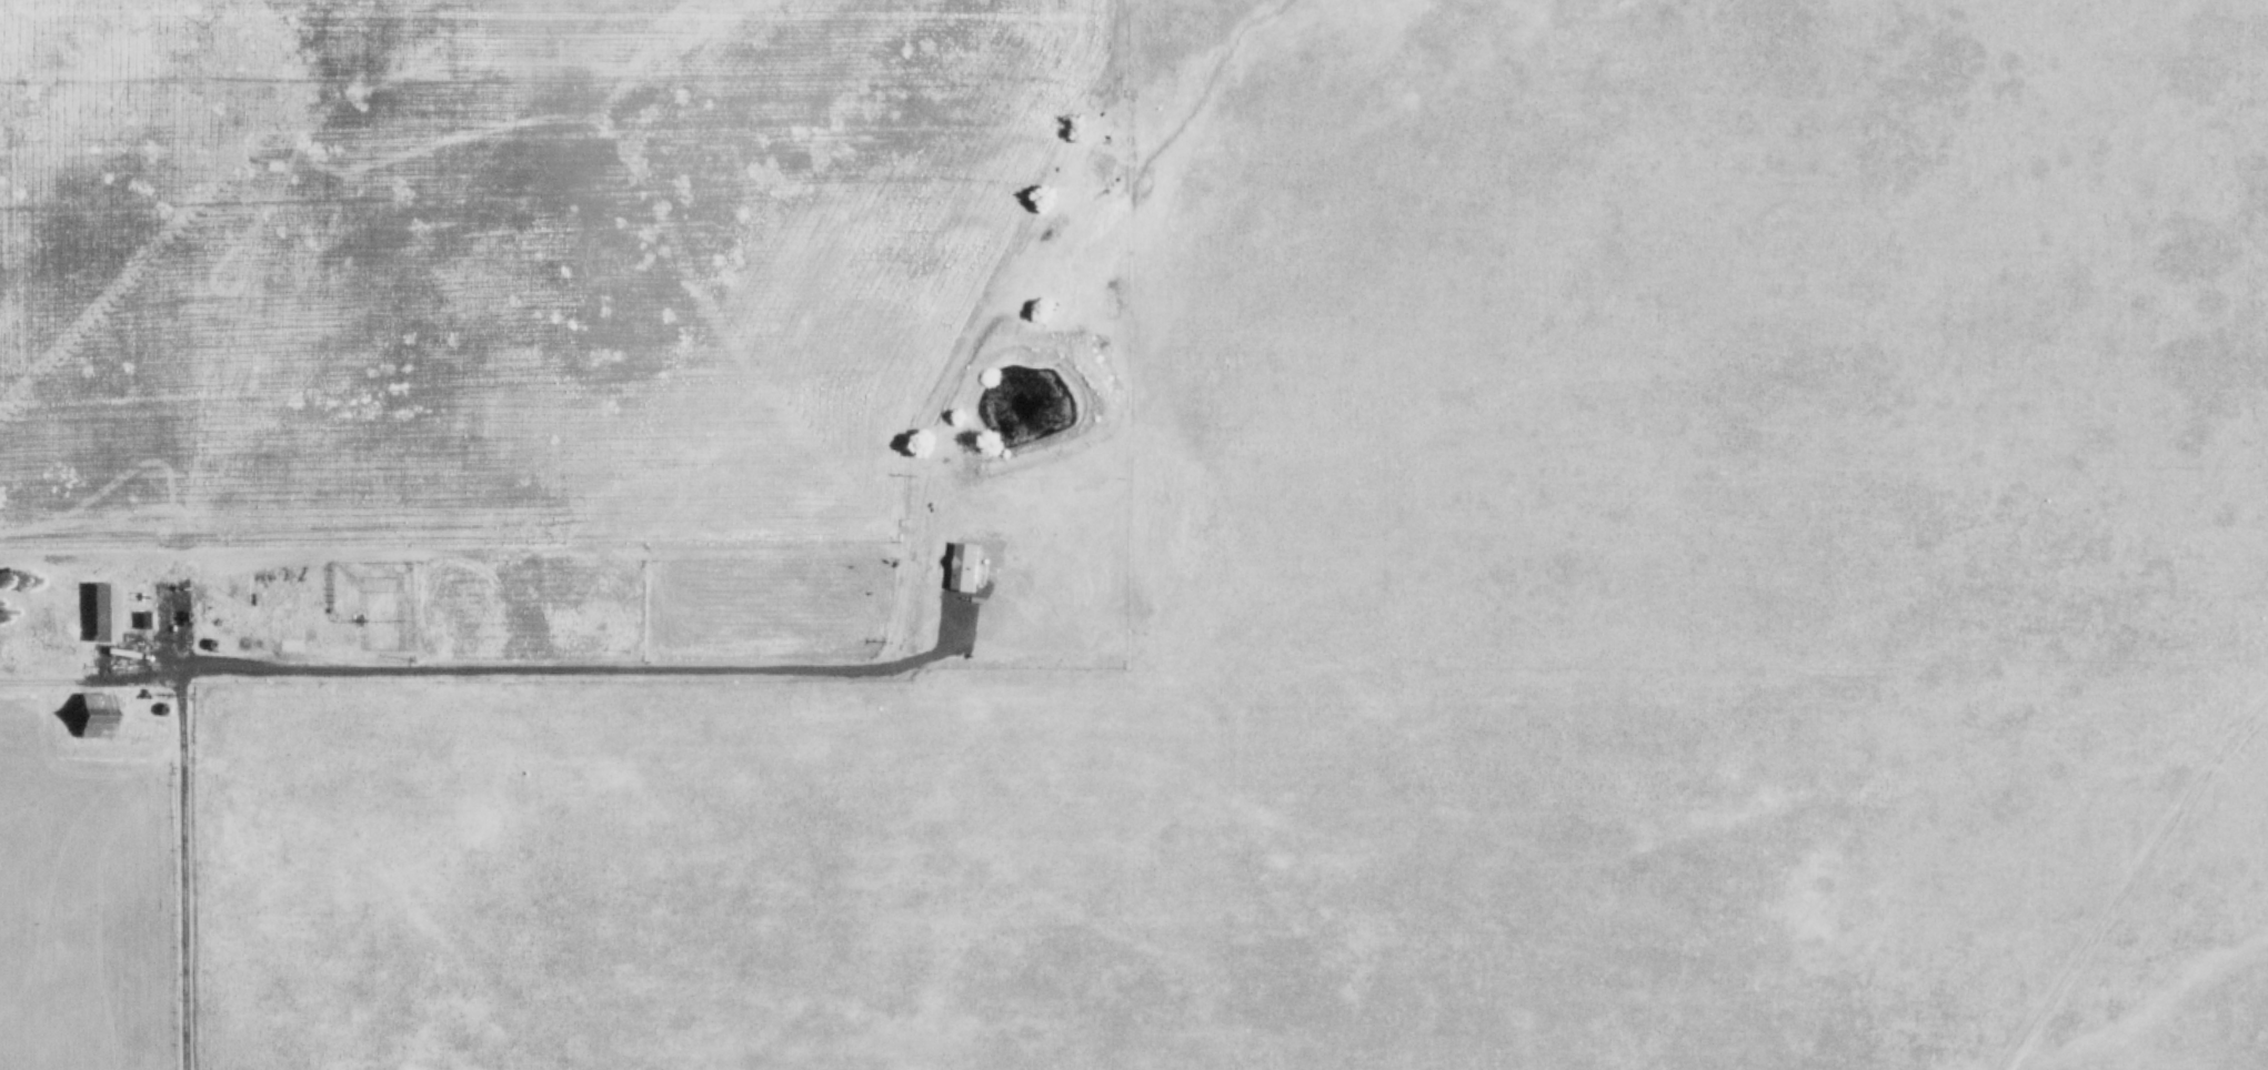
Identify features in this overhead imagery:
building: (962, 566)
building: (354, 585)
building: (434, 585)
building: (103, 608)
building: (96, 711)
road: (180, 819)

